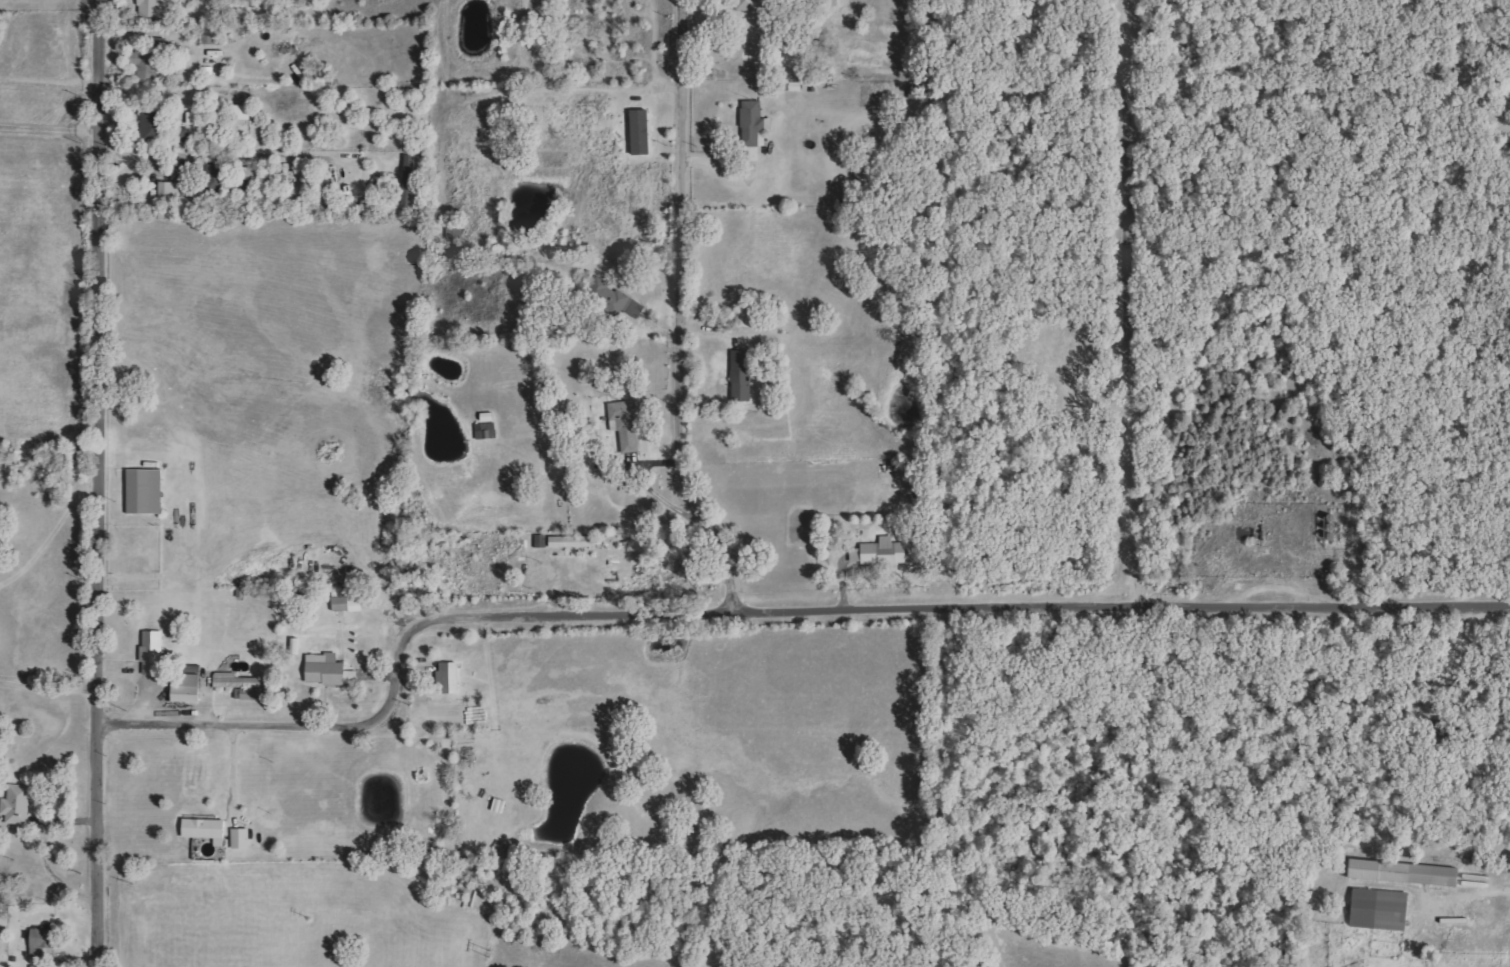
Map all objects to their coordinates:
building: (749, 5)
building: (152, 8)
building: (213, 34)
building: (147, 61)
road: (106, 73)
building: (244, 112)
building: (196, 118)
building: (755, 124)
building: (153, 127)
building: (643, 133)
building: (185, 135)
road: (53, 143)
road: (179, 152)
building: (215, 178)
building: (410, 180)
building: (175, 191)
building: (456, 231)
building: (616, 298)
road: (1126, 301)
road: (675, 308)
building: (747, 318)
building: (742, 375)
building: (628, 424)
building: (147, 491)
building: (542, 540)
building: (576, 541)
building: (882, 552)
road: (95, 557)
road: (765, 599)
building: (348, 604)
building: (298, 646)
building: (156, 653)
building: (330, 670)
building: (451, 677)
road: (46, 683)
building: (242, 685)
building: (190, 686)
road: (232, 768)
building: (19, 804)
building: (207, 829)
building: (242, 838)
road: (43, 853)
building: (1408, 872)
road: (1491, 892)
building: (1384, 909)
building: (46, 940)

